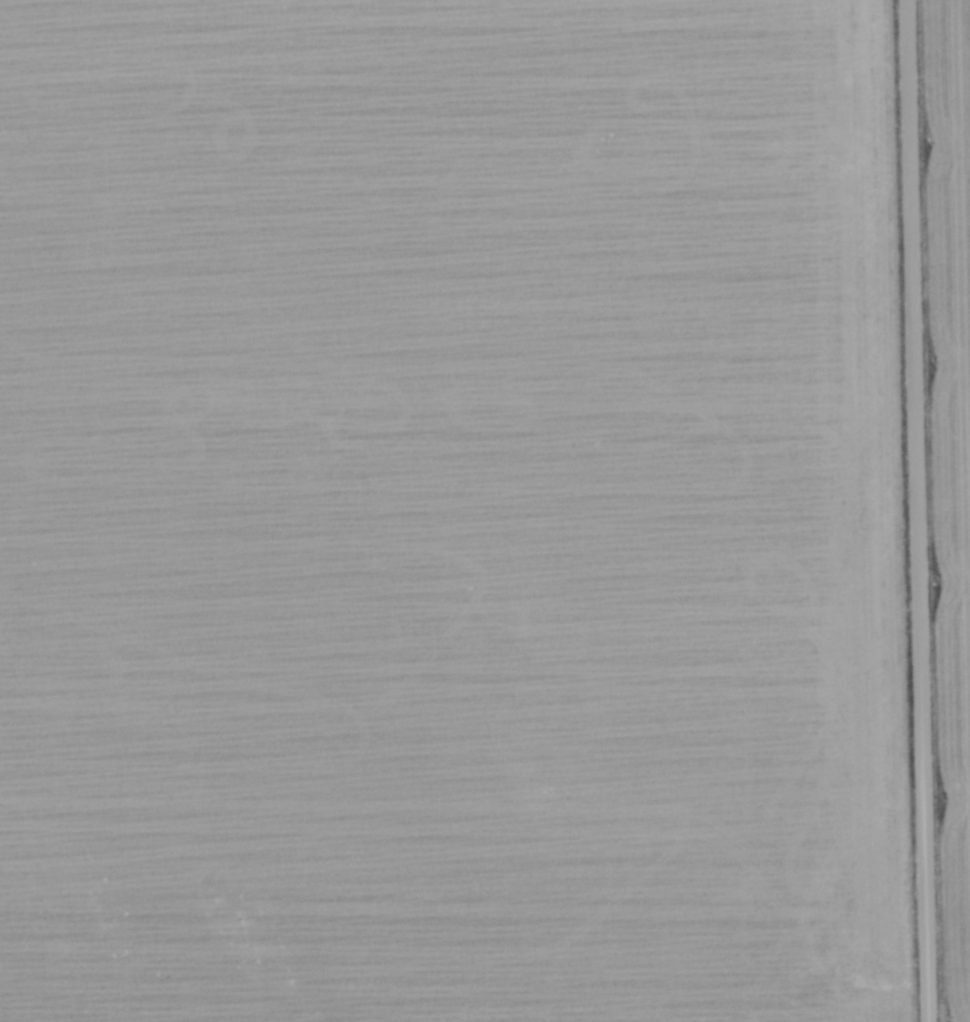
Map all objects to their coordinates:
crop: (951, 445)
crop: (440, 503)
road: (916, 511)

